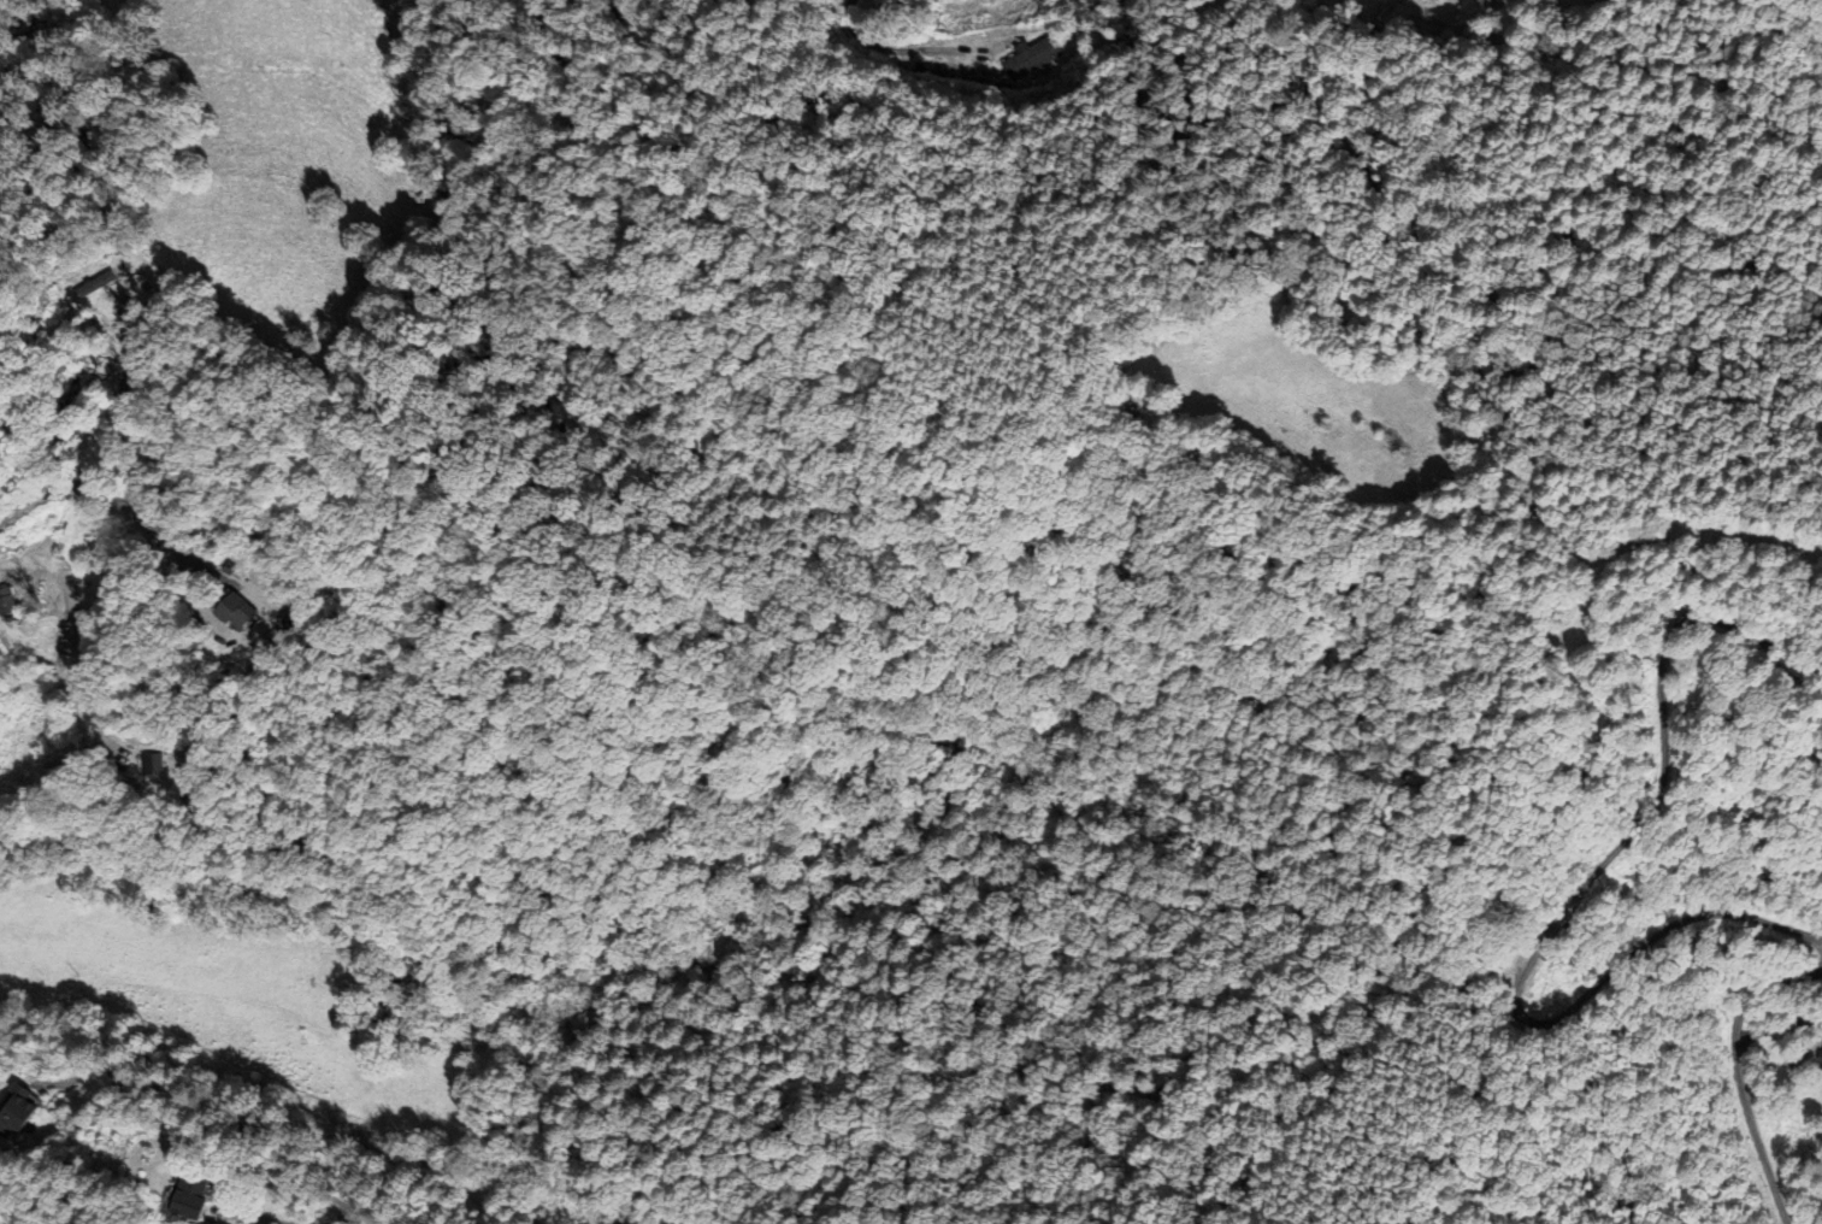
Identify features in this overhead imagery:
road: (871, 43)
building: (1031, 57)
road: (95, 489)
building: (217, 618)
building: (130, 764)
road: (200, 1107)
building: (12, 1111)
building: (176, 1196)

